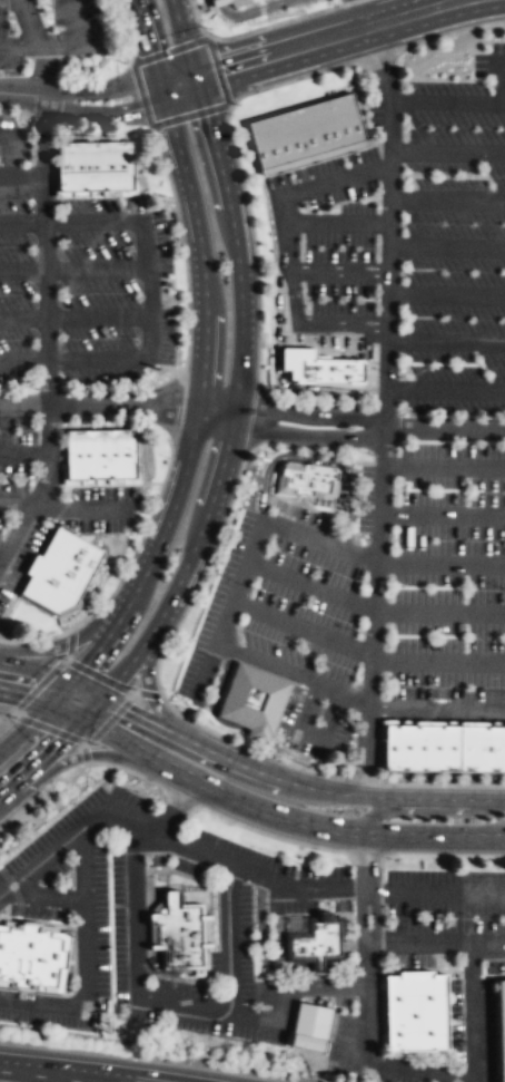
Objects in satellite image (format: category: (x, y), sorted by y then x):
road: (456, 0)
building: (237, 1)
road: (348, 2)
road: (248, 11)
road: (364, 13)
road: (75, 18)
road: (32, 23)
road: (274, 23)
street lamp: (247, 28)
street lamp: (209, 30)
road: (448, 32)
road: (184, 39)
road: (327, 39)
road: (60, 41)
road: (22, 47)
road: (43, 71)
road: (176, 77)
traffic signals: (195, 78)
road: (499, 79)
street lamp: (488, 85)
road: (100, 89)
road: (179, 89)
road: (21, 94)
road: (446, 103)
road: (157, 104)
road: (93, 114)
building: (307, 130)
road: (7, 150)
road: (447, 153)
building: (96, 166)
road: (239, 172)
street lamp: (428, 174)
road: (21, 175)
road: (336, 181)
road: (447, 199)
street lamp: (338, 208)
road: (337, 223)
road: (447, 246)
street lamp: (130, 247)
road: (289, 257)
road: (73, 270)
road: (339, 272)
road: (148, 291)
road: (446, 293)
street lamp: (32, 296)
street lamp: (337, 298)
road: (46, 302)
street lamp: (177, 308)
road: (76, 319)
road: (338, 321)
street lamp: (263, 328)
parking lot: (67, 338)
road: (263, 340)
street lamp: (136, 341)
road: (445, 341)
road: (276, 345)
road: (204, 352)
building: (321, 368)
street lamp: (399, 376)
road: (286, 387)
road: (445, 388)
road: (100, 403)
road: (218, 403)
road: (384, 410)
road: (310, 415)
road: (444, 429)
parking lot: (389, 433)
road: (290, 435)
road: (228, 437)
building: (101, 452)
road: (26, 454)
street lamp: (369, 454)
road: (317, 459)
road: (444, 465)
building: (310, 478)
road: (17, 503)
road: (81, 509)
road: (442, 514)
street lamp: (228, 524)
road: (17, 532)
street lamp: (337, 532)
street lamp: (103, 536)
road: (2, 555)
road: (250, 555)
road: (440, 564)
building: (61, 571)
road: (311, 584)
street lamp: (253, 587)
road: (439, 613)
road: (303, 627)
street lamp: (362, 633)
road: (36, 640)
road: (67, 643)
road: (438, 661)
road: (294, 672)
road: (22, 680)
road: (59, 684)
road: (150, 692)
building: (255, 698)
road: (55, 706)
road: (438, 710)
street lamp: (186, 713)
road: (225, 721)
road: (110, 730)
street lamp: (283, 731)
road: (311, 731)
building: (419, 748)
building: (481, 748)
road: (21, 752)
road: (82, 754)
street lamp: (318, 769)
road: (278, 780)
street lamp: (450, 781)
road: (439, 784)
road: (178, 805)
road: (424, 810)
road: (337, 826)
road: (82, 827)
road: (504, 832)
road: (439, 855)
road: (296, 885)
road: (6, 890)
road: (48, 891)
road: (436, 894)
road: (228, 901)
street lamp: (384, 915)
street lamp: (474, 917)
building: (179, 932)
building: (319, 943)
road: (436, 943)
road: (368, 944)
building: (32, 955)
road: (87, 962)
road: (426, 968)
road: (471, 972)
road: (493, 975)
road: (136, 985)
building: (414, 1013)
road: (472, 1013)
building: (503, 1021)
building: (310, 1026)
road: (353, 1053)
road: (24, 1068)
road: (127, 1070)
road: (415, 1070)
road: (73, 1076)

